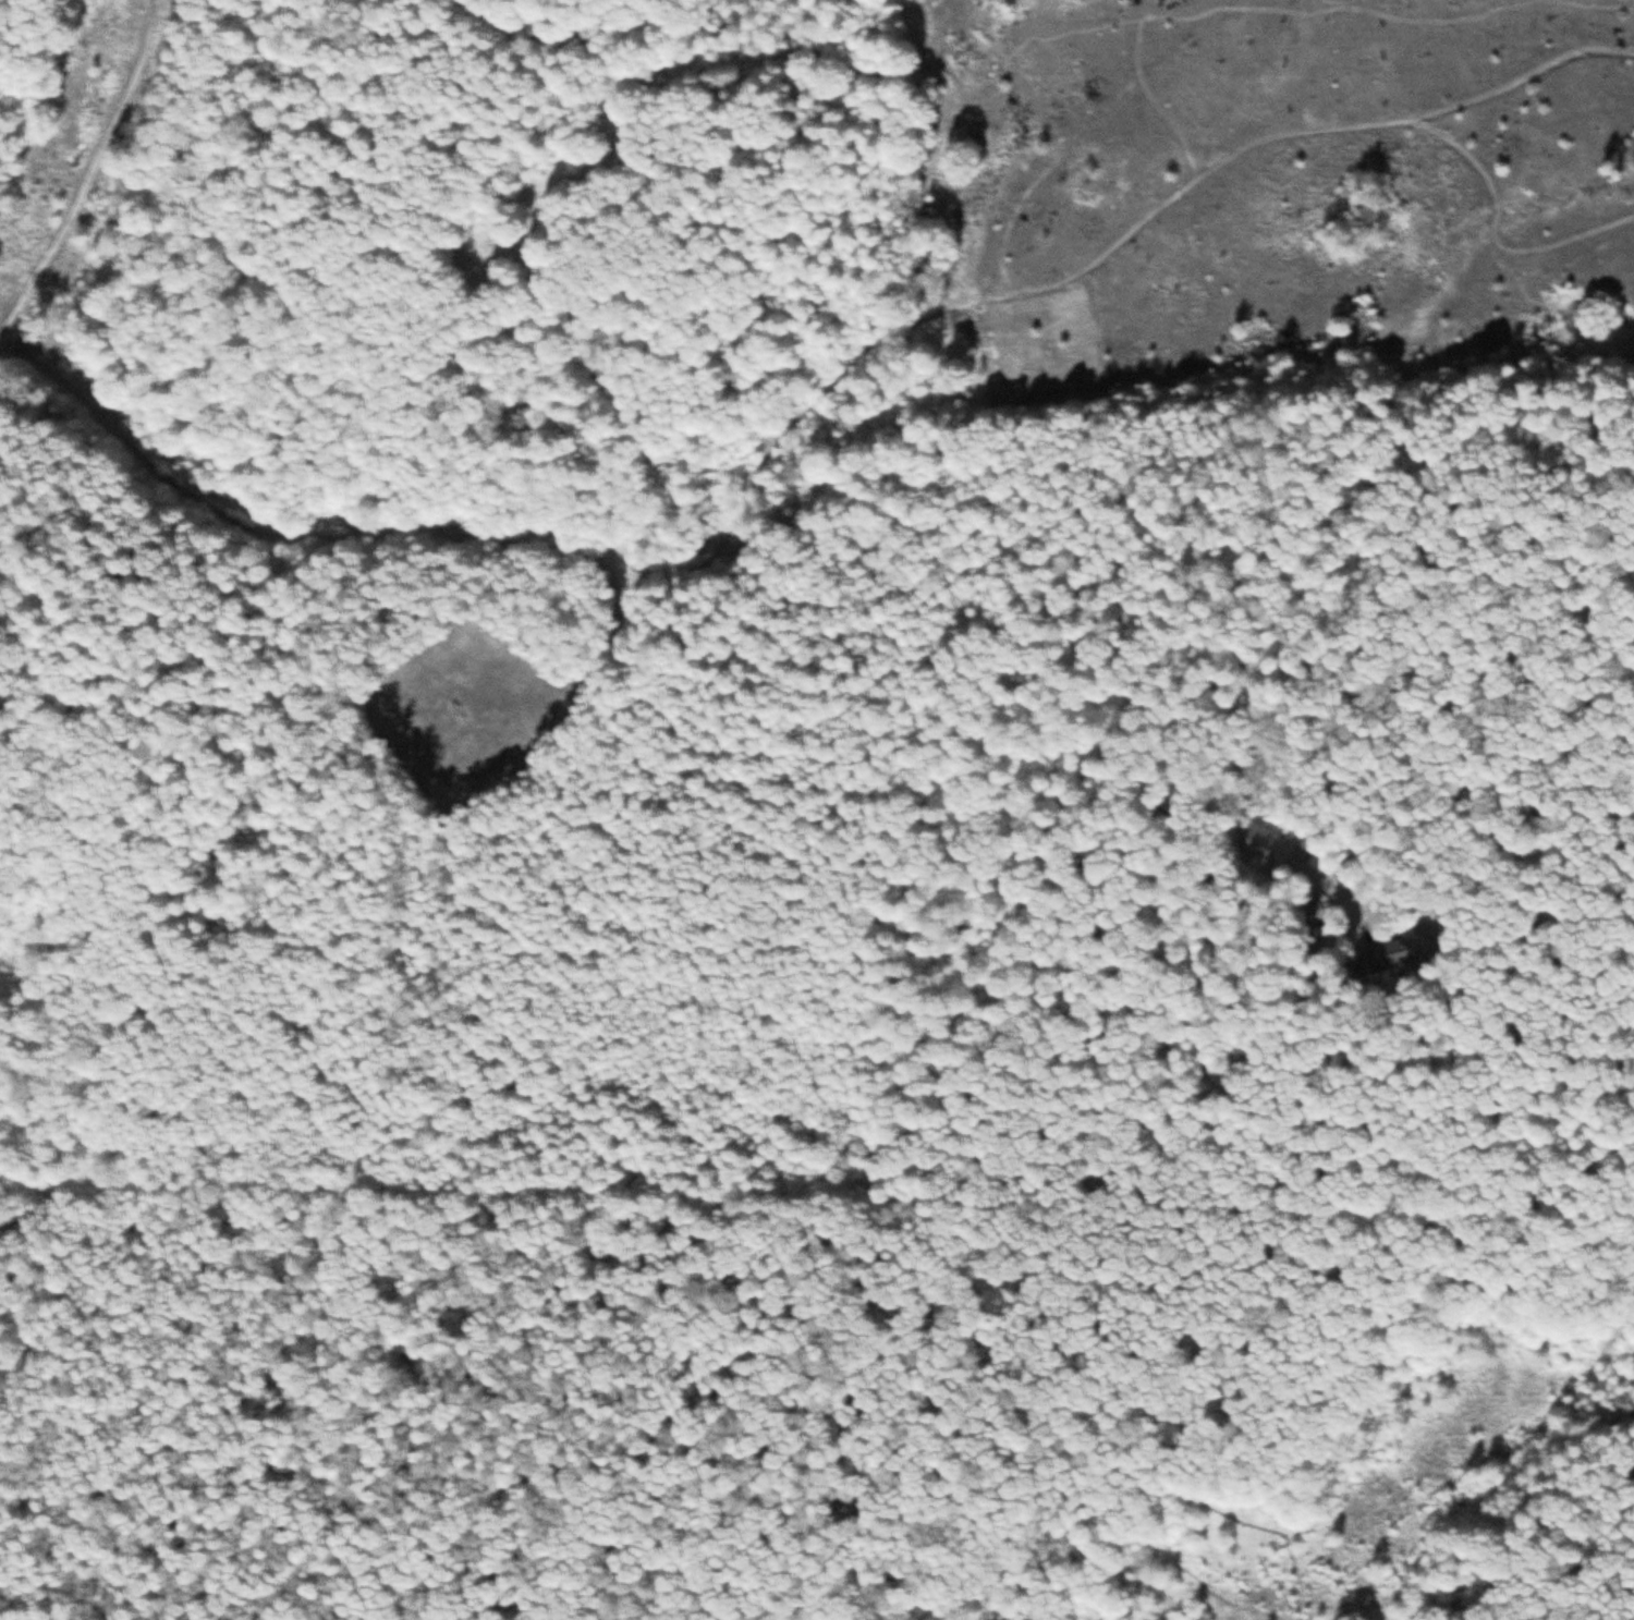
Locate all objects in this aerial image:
road: (1063, 826)
building: (1385, 953)
road: (831, 1190)

